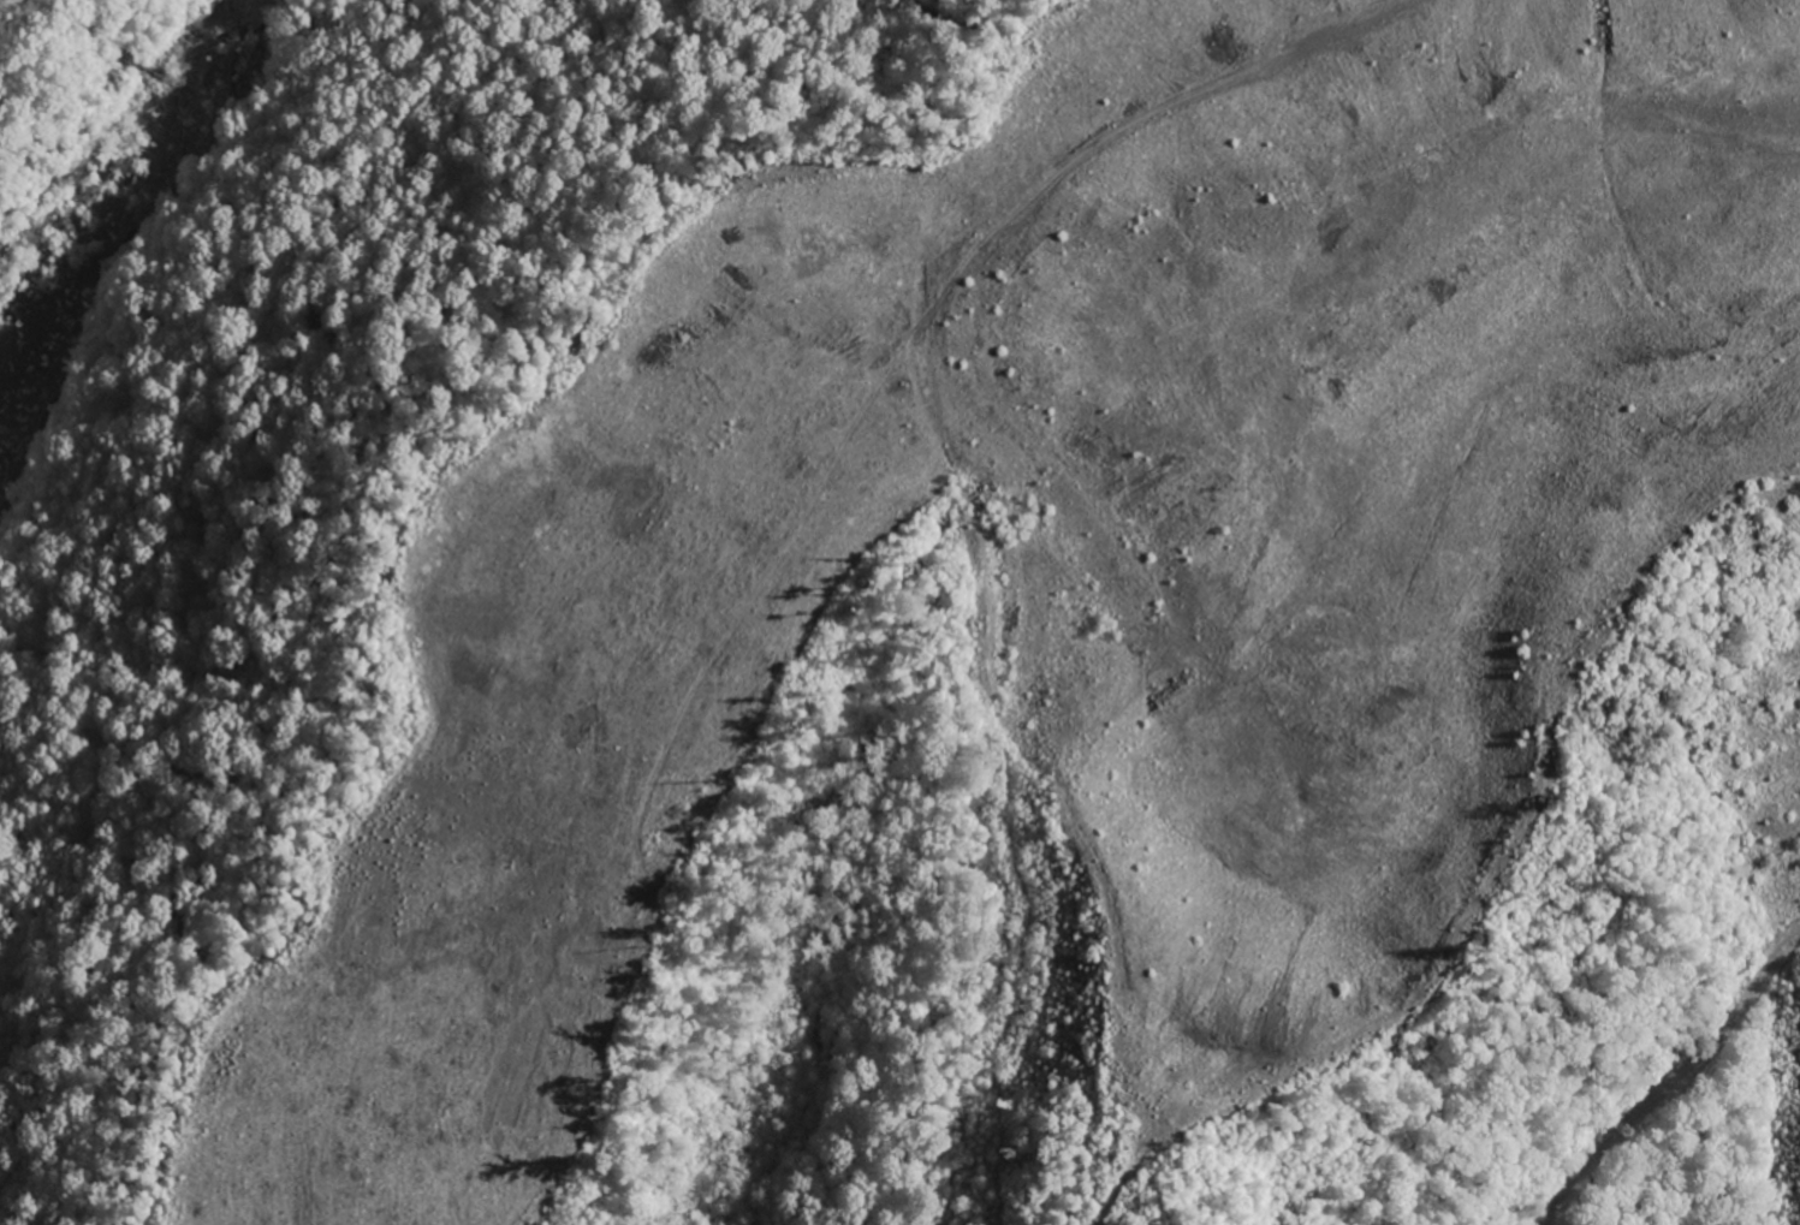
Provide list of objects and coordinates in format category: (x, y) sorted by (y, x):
road: (1716, 1087)

